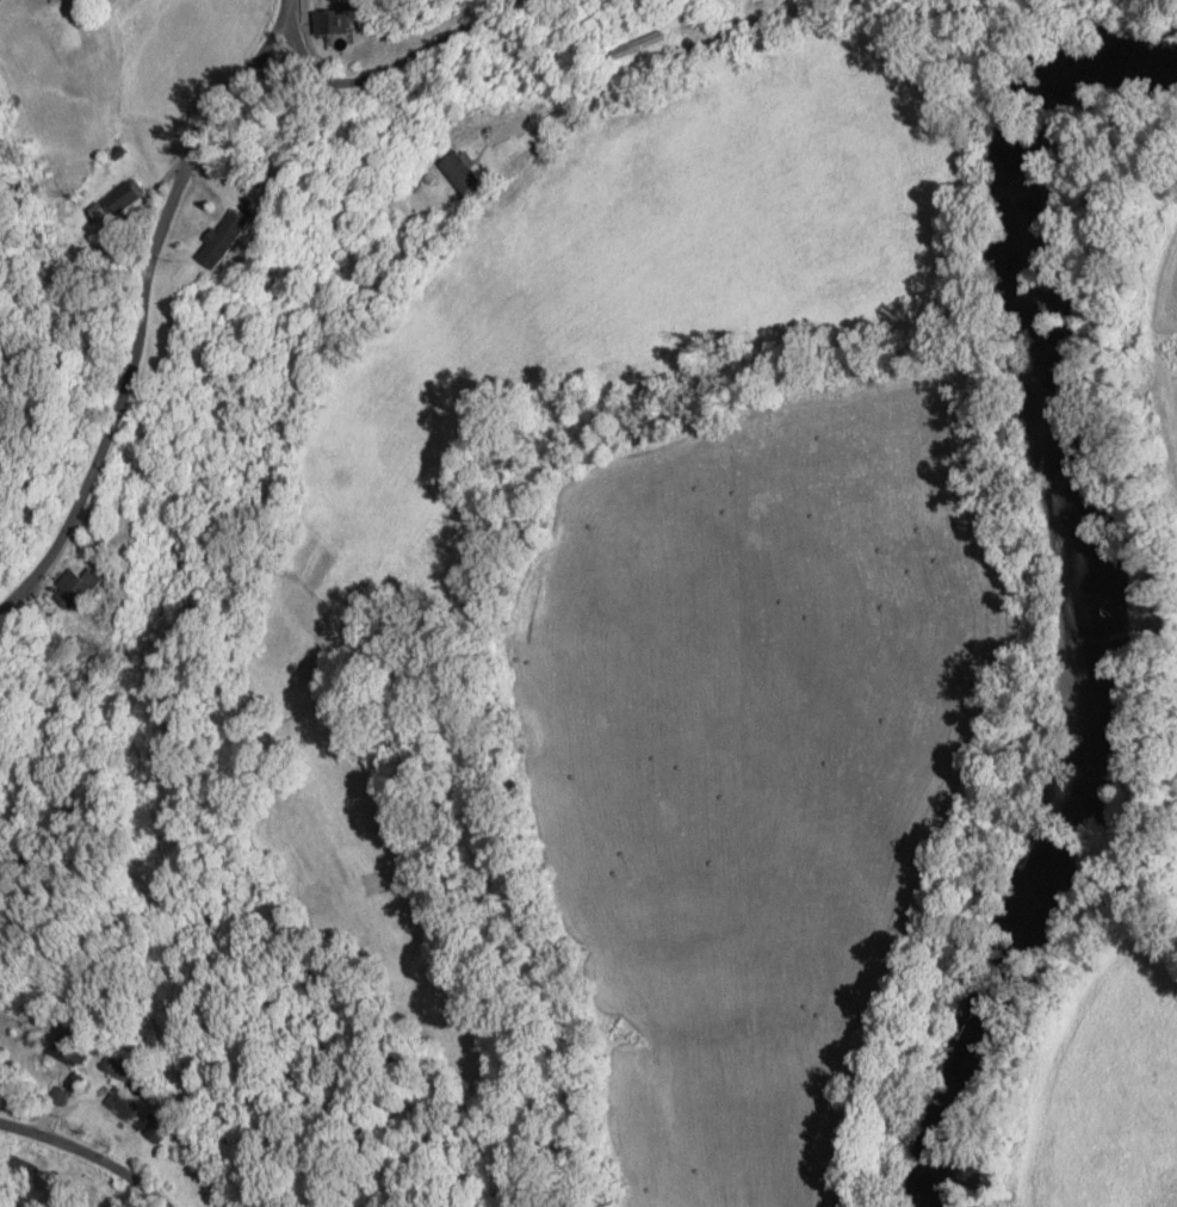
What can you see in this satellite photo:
building: (343, 20)
building: (646, 44)
road: (391, 67)
building: (469, 172)
building: (131, 194)
building: (235, 237)
road: (143, 305)
building: (88, 588)
river: (1083, 595)
building: (79, 1048)
building: (124, 1067)
building: (66, 1095)
building: (129, 1104)
road: (89, 1152)

